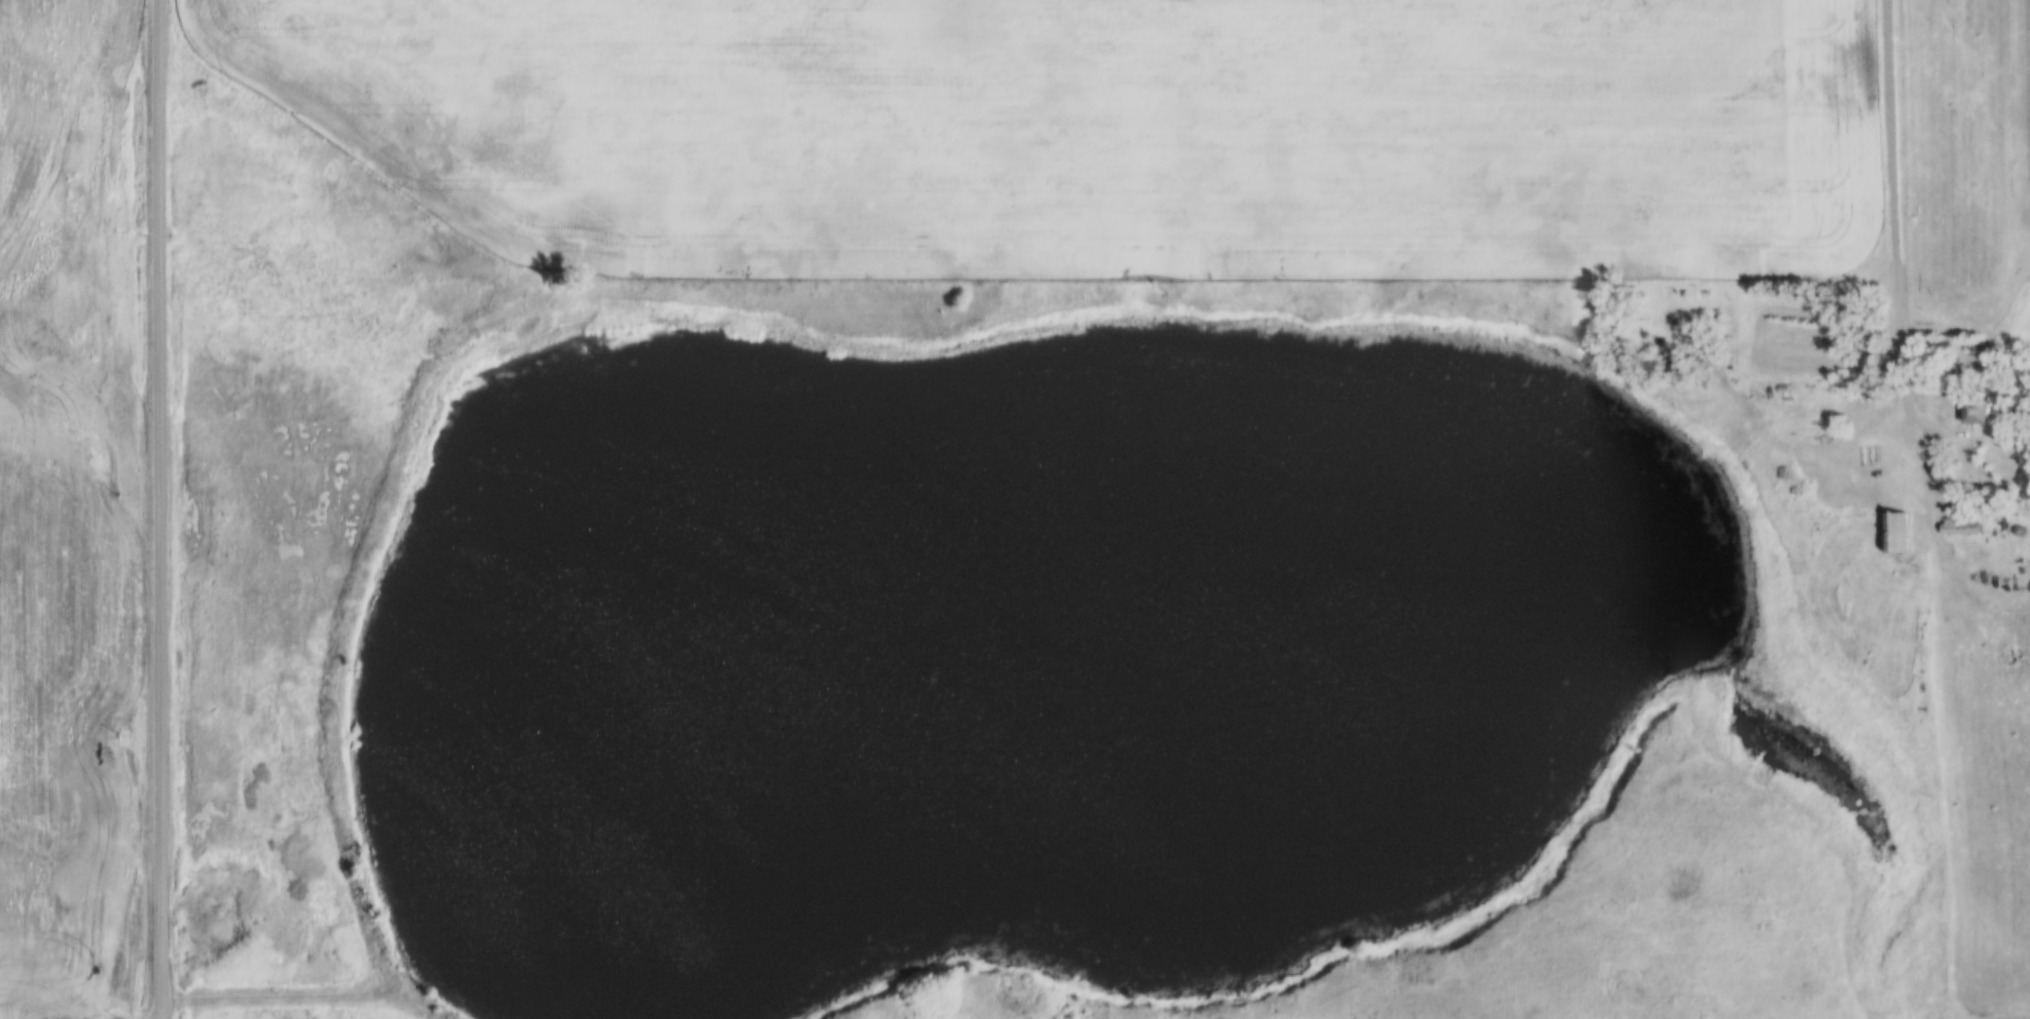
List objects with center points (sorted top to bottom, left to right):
road: (1899, 223)
building: (1777, 378)
building: (1969, 403)
building: (1973, 414)
building: (1777, 462)
building: (1789, 479)
road: (165, 509)
building: (1953, 517)
building: (2011, 520)
silo: (2011, 520)
building: (1889, 521)
building: (1957, 531)

